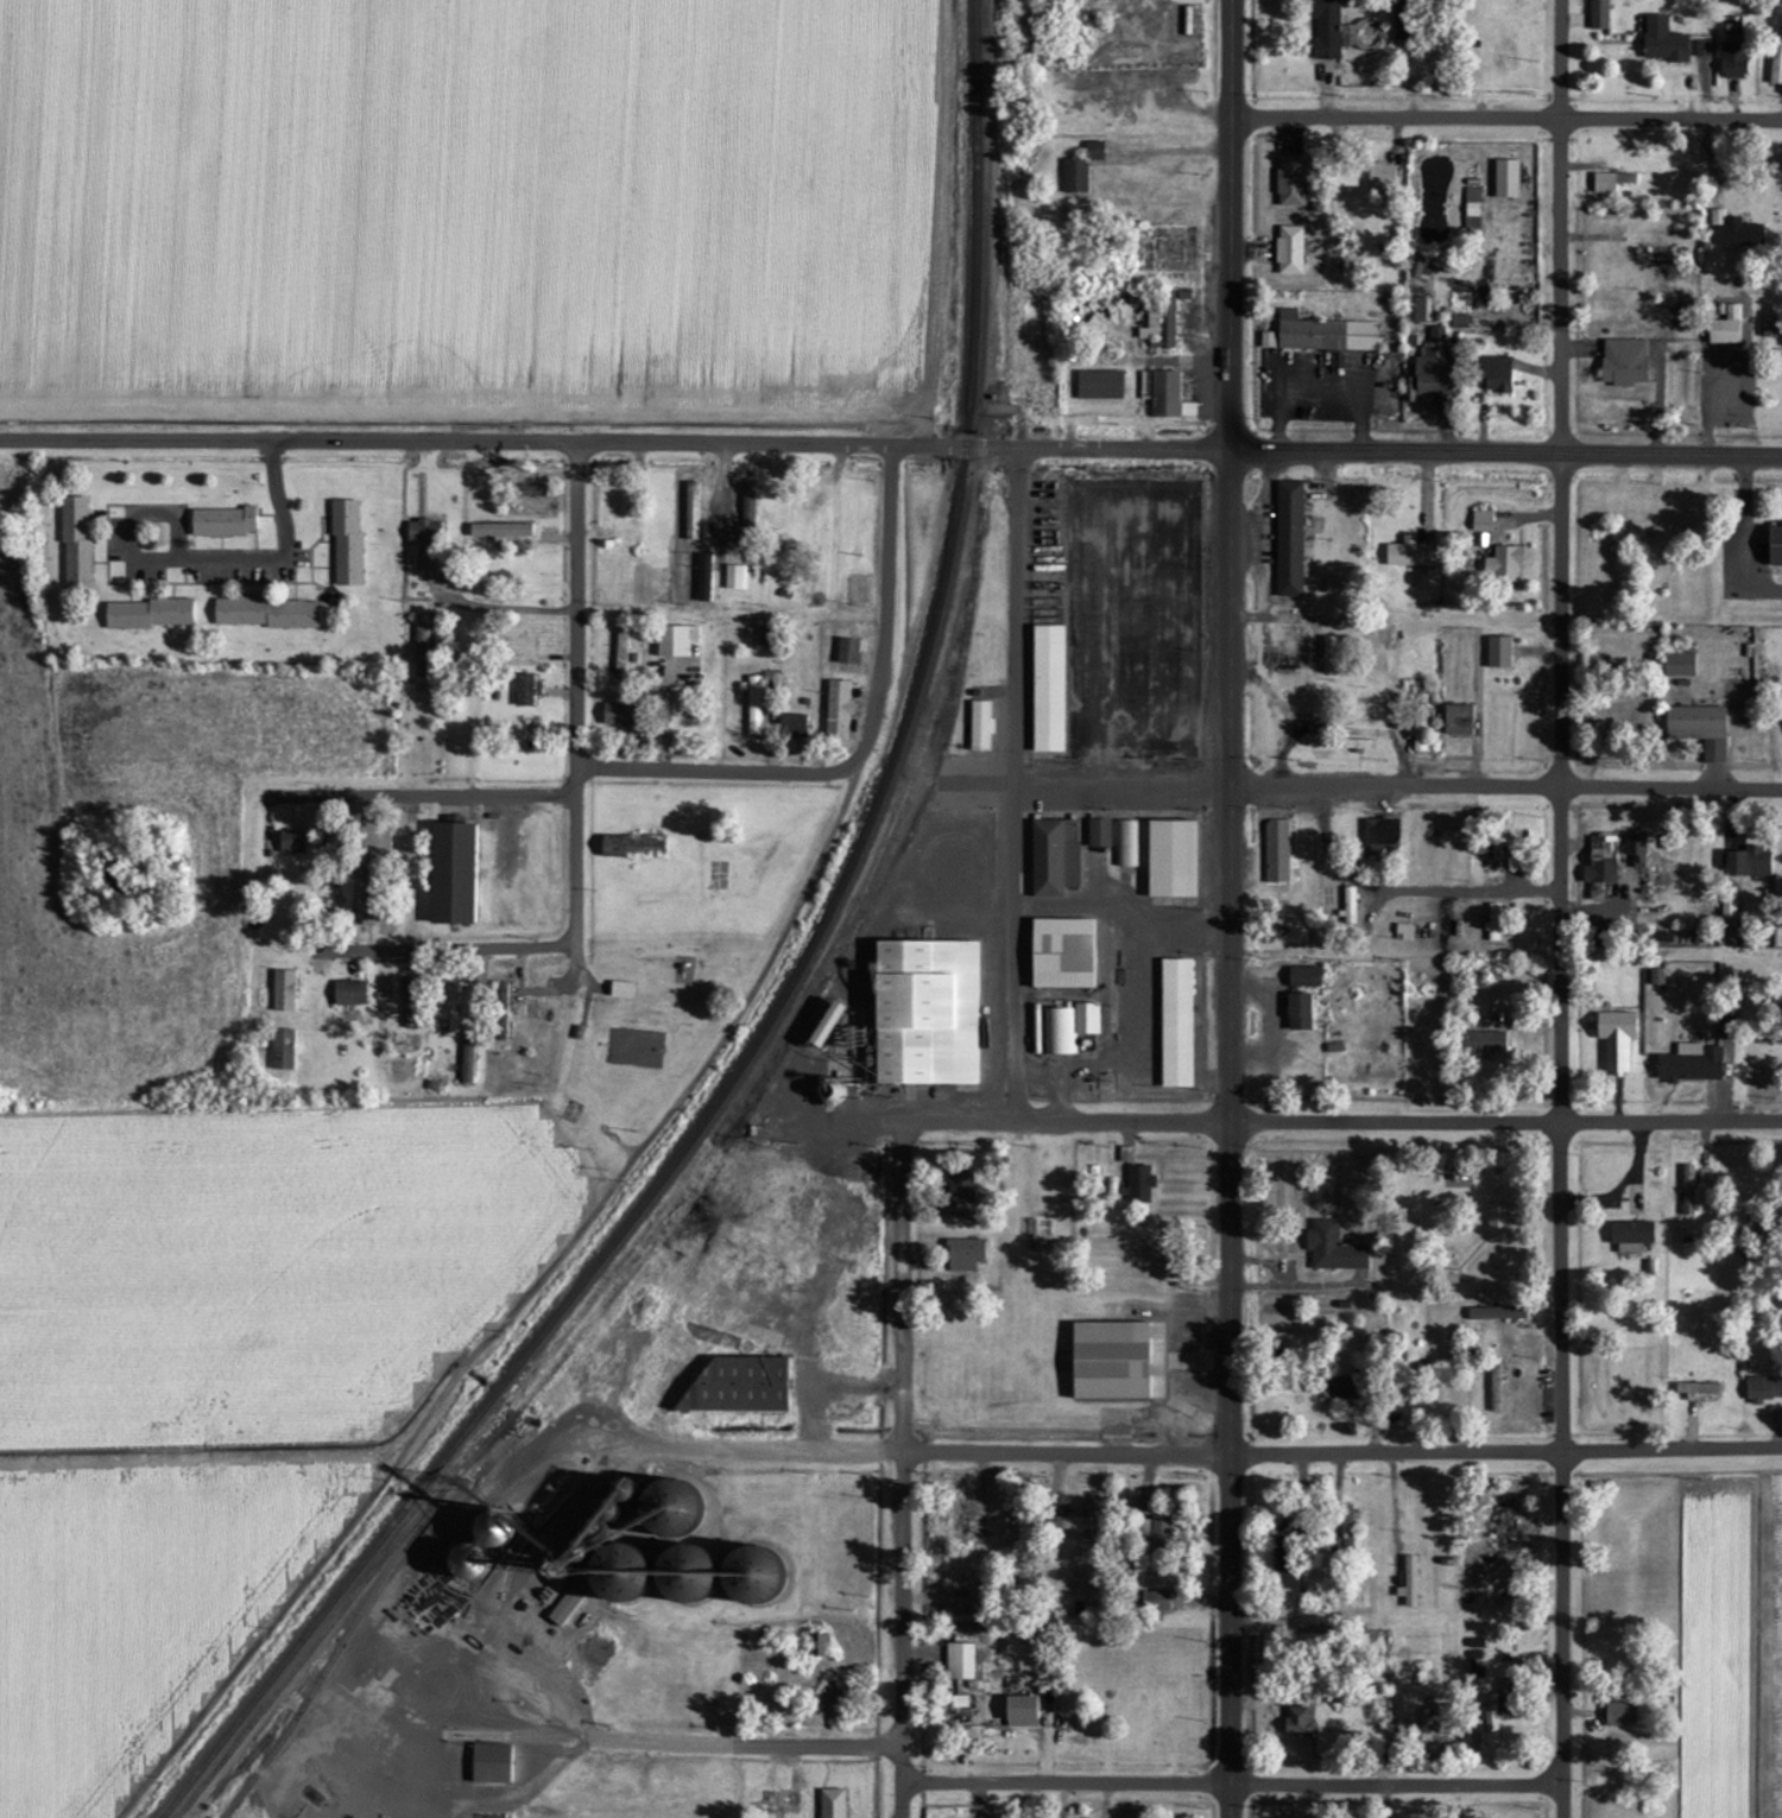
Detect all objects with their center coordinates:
building: (1599, 15)
building: (1402, 20)
building: (1327, 30)
building: (1664, 43)
building: (1702, 49)
building: (1734, 61)
building: (1776, 64)
road: (1169, 78)
road: (1506, 119)
road: (1171, 150)
building: (1094, 152)
building: (1345, 176)
building: (1075, 177)
building: (1382, 177)
building: (1626, 179)
building: (1506, 180)
building: (1291, 183)
building: (1605, 184)
building: (1472, 203)
road: (1232, 222)
building: (1736, 232)
building: (1290, 252)
building: (1421, 270)
building: (1418, 311)
building: (1151, 324)
building: (1726, 329)
building: (1770, 329)
building: (1325, 335)
building: (1268, 341)
building: (1624, 363)
building: (1432, 370)
building: (1496, 375)
building: (1100, 386)
building: (1164, 395)
road: (152, 441)
road: (1043, 443)
building: (748, 506)
building: (1481, 521)
building: (223, 522)
road: (577, 522)
road: (1232, 530)
building: (423, 531)
road: (1744, 532)
building: (76, 538)
building: (1289, 539)
building: (347, 543)
building: (1776, 544)
building: (1409, 552)
building: (1508, 563)
road: (246, 564)
building: (734, 577)
building: (704, 578)
road: (455, 597)
road: (885, 606)
building: (151, 614)
building: (265, 614)
building: (1048, 616)
road: (1285, 616)
building: (764, 636)
building: (676, 640)
building: (421, 651)
building: (848, 651)
building: (1499, 652)
building: (621, 654)
building: (1331, 655)
building: (1679, 665)
road: (577, 683)
building: (524, 690)
road: (1232, 701)
building: (754, 705)
building: (838, 710)
building: (620, 716)
building: (1459, 720)
building: (1420, 723)
building: (794, 726)
building: (980, 727)
building: (1700, 729)
road: (1394, 731)
road: (719, 768)
road: (577, 775)
road: (858, 781)
road: (1016, 781)
road: (1086, 781)
road: (1506, 787)
road: (407, 791)
building: (1099, 834)
building: (1382, 837)
building: (291, 842)
building: (1127, 844)
building: (633, 847)
building: (1636, 848)
building: (1276, 851)
building: (1055, 857)
road: (277, 859)
building: (1171, 859)
road: (577, 863)
building: (1749, 863)
building: (1601, 866)
building: (451, 873)
road: (1470, 889)
road: (1562, 891)
building: (1350, 906)
building: (1729, 913)
building: (1493, 923)
road: (451, 946)
building: (1062, 954)
road: (1233, 955)
building: (1304, 977)
building: (1657, 977)
building: (621, 990)
building: (283, 992)
building: (350, 993)
railway: (784, 996)
building: (925, 1013)
building: (1300, 1013)
building: (1086, 1019)
building: (1176, 1024)
building: (827, 1025)
building: (1725, 1028)
building: (1060, 1032)
building: (1617, 1039)
building: (1484, 1043)
building: (283, 1050)
building: (1692, 1064)
road: (1004, 1120)
road: (1670, 1120)
road: (1396, 1121)
building: (1126, 1155)
building: (1137, 1184)
building: (1688, 1191)
building: (961, 1192)
park: (1475, 1205)
building: (1498, 1221)
road: (580, 1228)
building: (1631, 1236)
building: (1333, 1249)
building: (966, 1254)
building: (1167, 1269)
building: (1497, 1313)
railway: (588, 1320)
building: (1111, 1362)
building: (740, 1385)
building: (1345, 1388)
building: (1496, 1388)
building: (1763, 1389)
building: (1698, 1392)
road: (902, 1430)
road: (912, 1449)
road: (1508, 1450)
road: (1233, 1470)
building: (1059, 1505)
building: (666, 1509)
building: (1079, 1525)
building: (1347, 1527)
building: (1504, 1527)
building: (1012, 1528)
building: (1156, 1534)
building: (1282, 1554)
building: (693, 1576)
building: (1409, 1583)
building: (1156, 1602)
building: (564, 1608)
crop: (1731, 1647)
building: (960, 1662)
railway: (286, 1679)
building: (1022, 1712)
building: (1618, 1716)
building: (1495, 1717)
building: (1297, 1722)
road: (693, 1741)
road: (899, 1759)
building: (491, 1765)
road: (1066, 1778)
road: (1398, 1781)
road: (898, 1797)
road: (1565, 1800)
building: (833, 1804)

